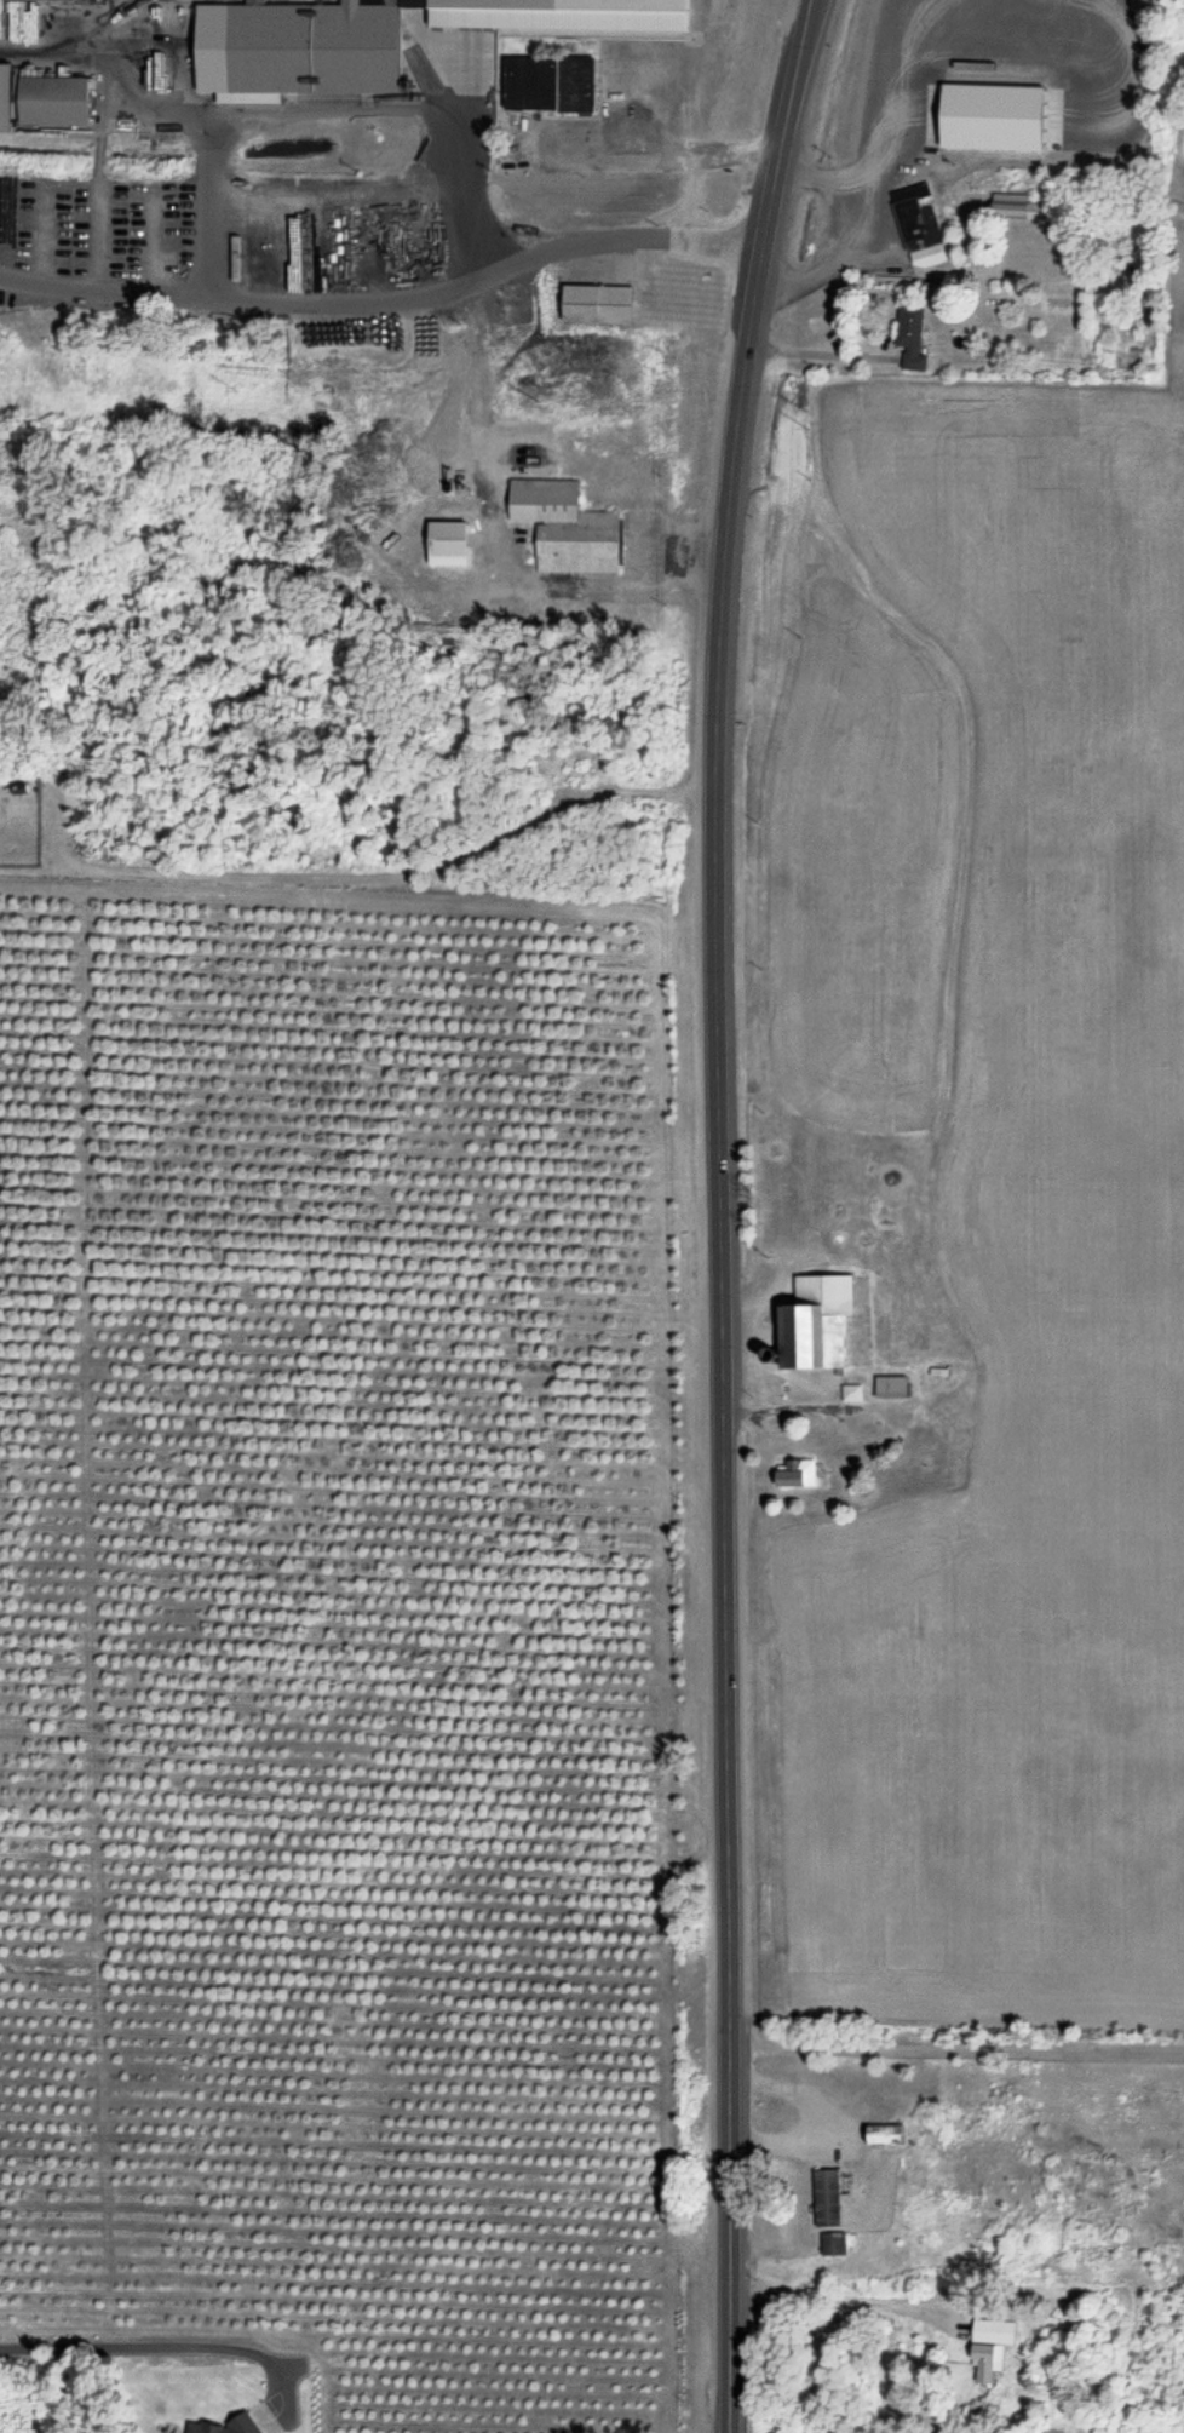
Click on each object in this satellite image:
building: (50, 1)
building: (311, 50)
building: (552, 86)
building: (62, 103)
road: (278, 172)
building: (1019, 210)
building: (867, 224)
building: (920, 229)
building: (16, 259)
building: (149, 274)
building: (599, 306)
building: (914, 340)
building: (567, 529)
building: (455, 545)
building: (7, 822)
road: (372, 879)
road: (715, 1212)
building: (818, 1325)
building: (890, 1389)
building: (850, 1395)
building: (798, 1476)
road: (954, 2049)
building: (887, 2136)
building: (829, 2200)
building: (837, 2248)
building: (992, 2334)

